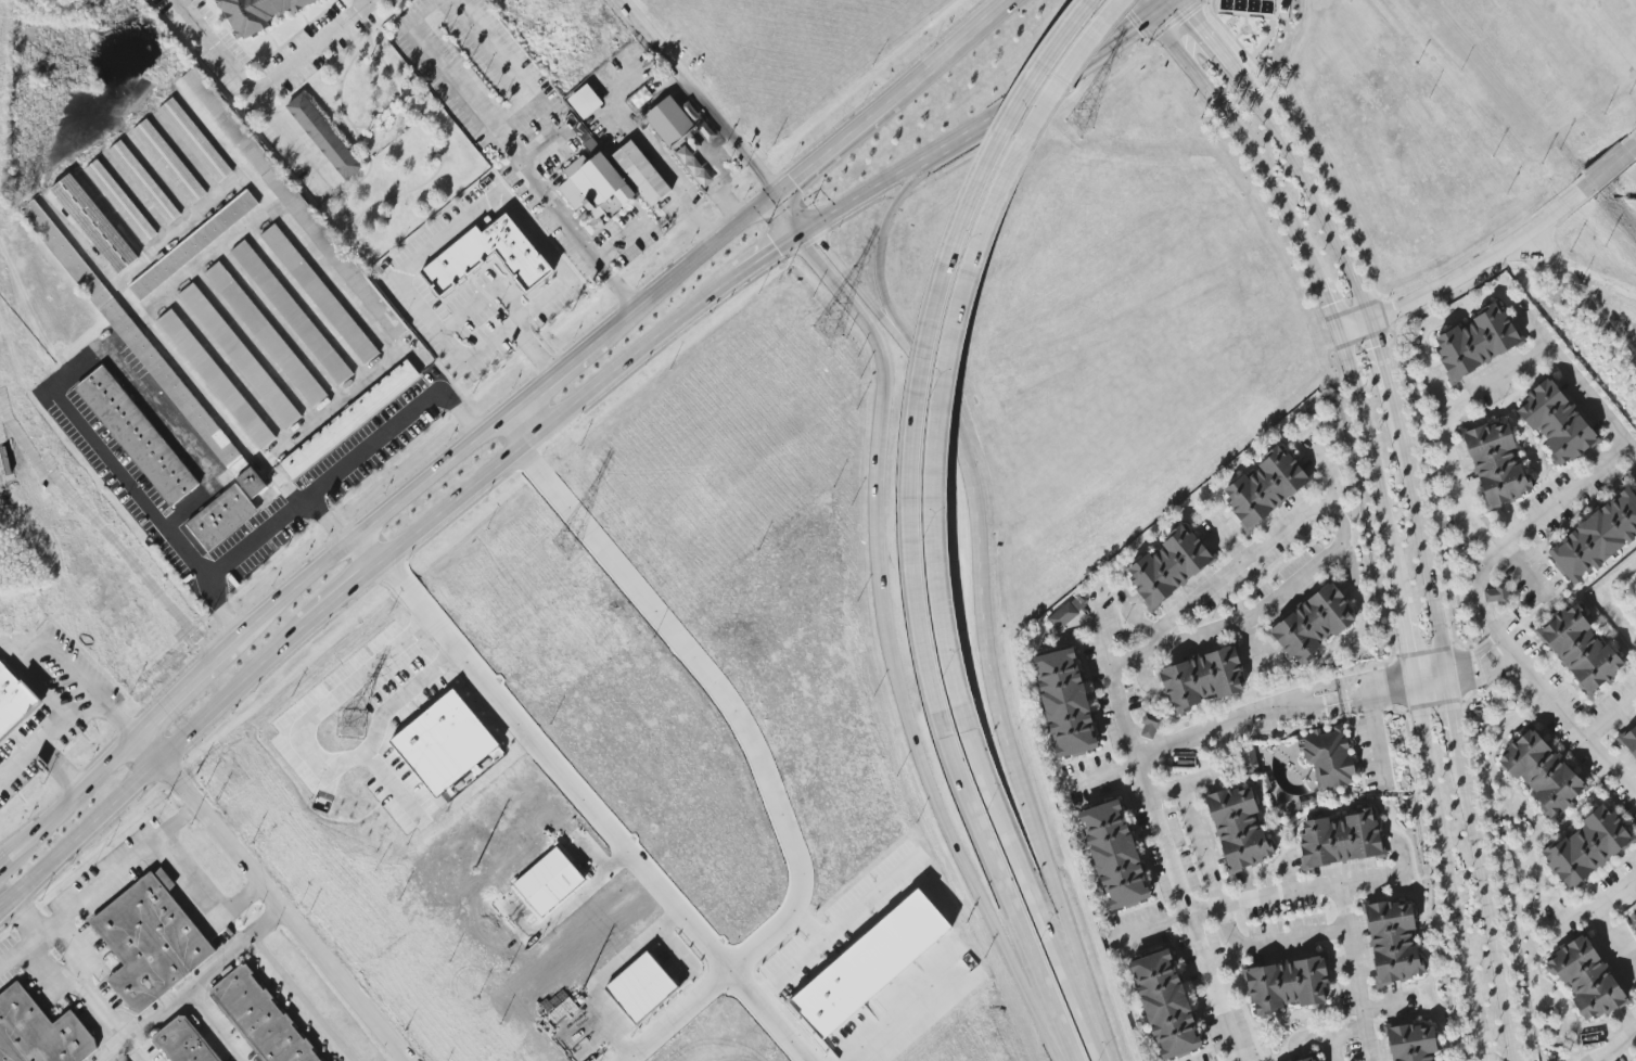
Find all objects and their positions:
road: (372, 0)
road: (1207, 1)
road: (1162, 2)
road: (1166, 2)
traffic signals: (1164, 4)
road: (432, 11)
building: (256, 13)
road: (1177, 21)
road: (1111, 40)
road: (312, 51)
road: (941, 51)
road: (247, 98)
building: (585, 101)
road: (715, 113)
road: (996, 114)
building: (669, 120)
road: (1035, 120)
power tower: (1074, 126)
building: (323, 137)
building: (195, 140)
road: (829, 148)
building: (168, 162)
road: (517, 162)
road: (1609, 167)
building: (640, 172)
building: (144, 182)
building: (596, 187)
road: (869, 190)
traffic signals: (777, 192)
road: (221, 194)
road: (900, 195)
building: (120, 201)
road: (861, 209)
building: (93, 223)
traffic signals: (808, 226)
road: (797, 231)
traffic signals: (792, 235)
road: (810, 240)
road: (880, 240)
building: (193, 245)
road: (420, 251)
road: (766, 253)
building: (488, 256)
road: (204, 258)
road: (687, 264)
road: (1576, 266)
road: (1467, 273)
road: (854, 283)
building: (320, 294)
road: (1365, 309)
building: (292, 312)
road: (1334, 323)
road: (374, 327)
power tower: (825, 330)
building: (266, 334)
building: (1477, 342)
road: (948, 345)
road: (168, 348)
building: (142, 349)
road: (926, 349)
building: (240, 356)
road: (424, 363)
road: (559, 370)
building: (216, 379)
road: (1575, 382)
road: (883, 386)
road: (49, 387)
road: (1434, 389)
road: (531, 417)
building: (348, 420)
road: (554, 421)
road: (387, 422)
building: (1556, 422)
road: (1441, 430)
building: (137, 436)
building: (1496, 464)
road: (1330, 471)
building: (1265, 487)
road: (478, 497)
road: (274, 513)
building: (220, 519)
road: (373, 523)
road: (1340, 538)
building: (1596, 538)
road: (979, 542)
power tower: (563, 546)
building: (1170, 566)
road: (1526, 567)
building: (1496, 593)
road: (336, 599)
building: (1062, 616)
road: (1482, 616)
building: (1313, 624)
road: (18, 643)
building: (1581, 650)
building: (537, 663)
road: (1478, 665)
road: (71, 668)
road: (1430, 678)
building: (1202, 679)
road: (182, 690)
road: (724, 696)
building: (13, 702)
building: (1064, 702)
road: (1269, 703)
road: (1610, 714)
road: (69, 723)
power tower: (349, 725)
building: (1150, 726)
road: (1377, 737)
building: (455, 742)
building: (1328, 757)
building: (1250, 759)
road: (311, 762)
road: (152, 765)
road: (62, 768)
road: (167, 768)
building: (1542, 771)
road: (1099, 772)
road: (394, 783)
road: (1185, 787)
road: (583, 797)
road: (67, 802)
road: (945, 824)
building: (1239, 828)
building: (1341, 839)
road: (1161, 840)
building: (1588, 846)
road: (77, 855)
building: (1114, 855)
road: (1479, 868)
road: (120, 870)
road: (1445, 871)
building: (557, 882)
road: (1032, 896)
road: (1260, 896)
road: (1615, 896)
road: (270, 898)
road: (1010, 898)
road: (201, 904)
road: (1061, 910)
road: (1573, 915)
road: (1225, 918)
road: (810, 926)
road: (841, 932)
building: (1393, 942)
building: (145, 943)
road: (1615, 944)
road: (22, 951)
building: (878, 966)
road: (72, 971)
road: (1354, 972)
building: (1586, 979)
road: (191, 985)
building: (1287, 985)
building: (650, 986)
road: (293, 1000)
building: (1165, 1004)
road: (1381, 1006)
road: (675, 1015)
building: (258, 1018)
road: (916, 1021)
road: (221, 1023)
building: (38, 1032)
road: (1330, 1034)
building: (971, 1036)
building: (179, 1043)
building: (1413, 1043)
road: (1327, 1048)
road: (1621, 1048)
road: (1236, 1059)
building: (1311, 1059)

